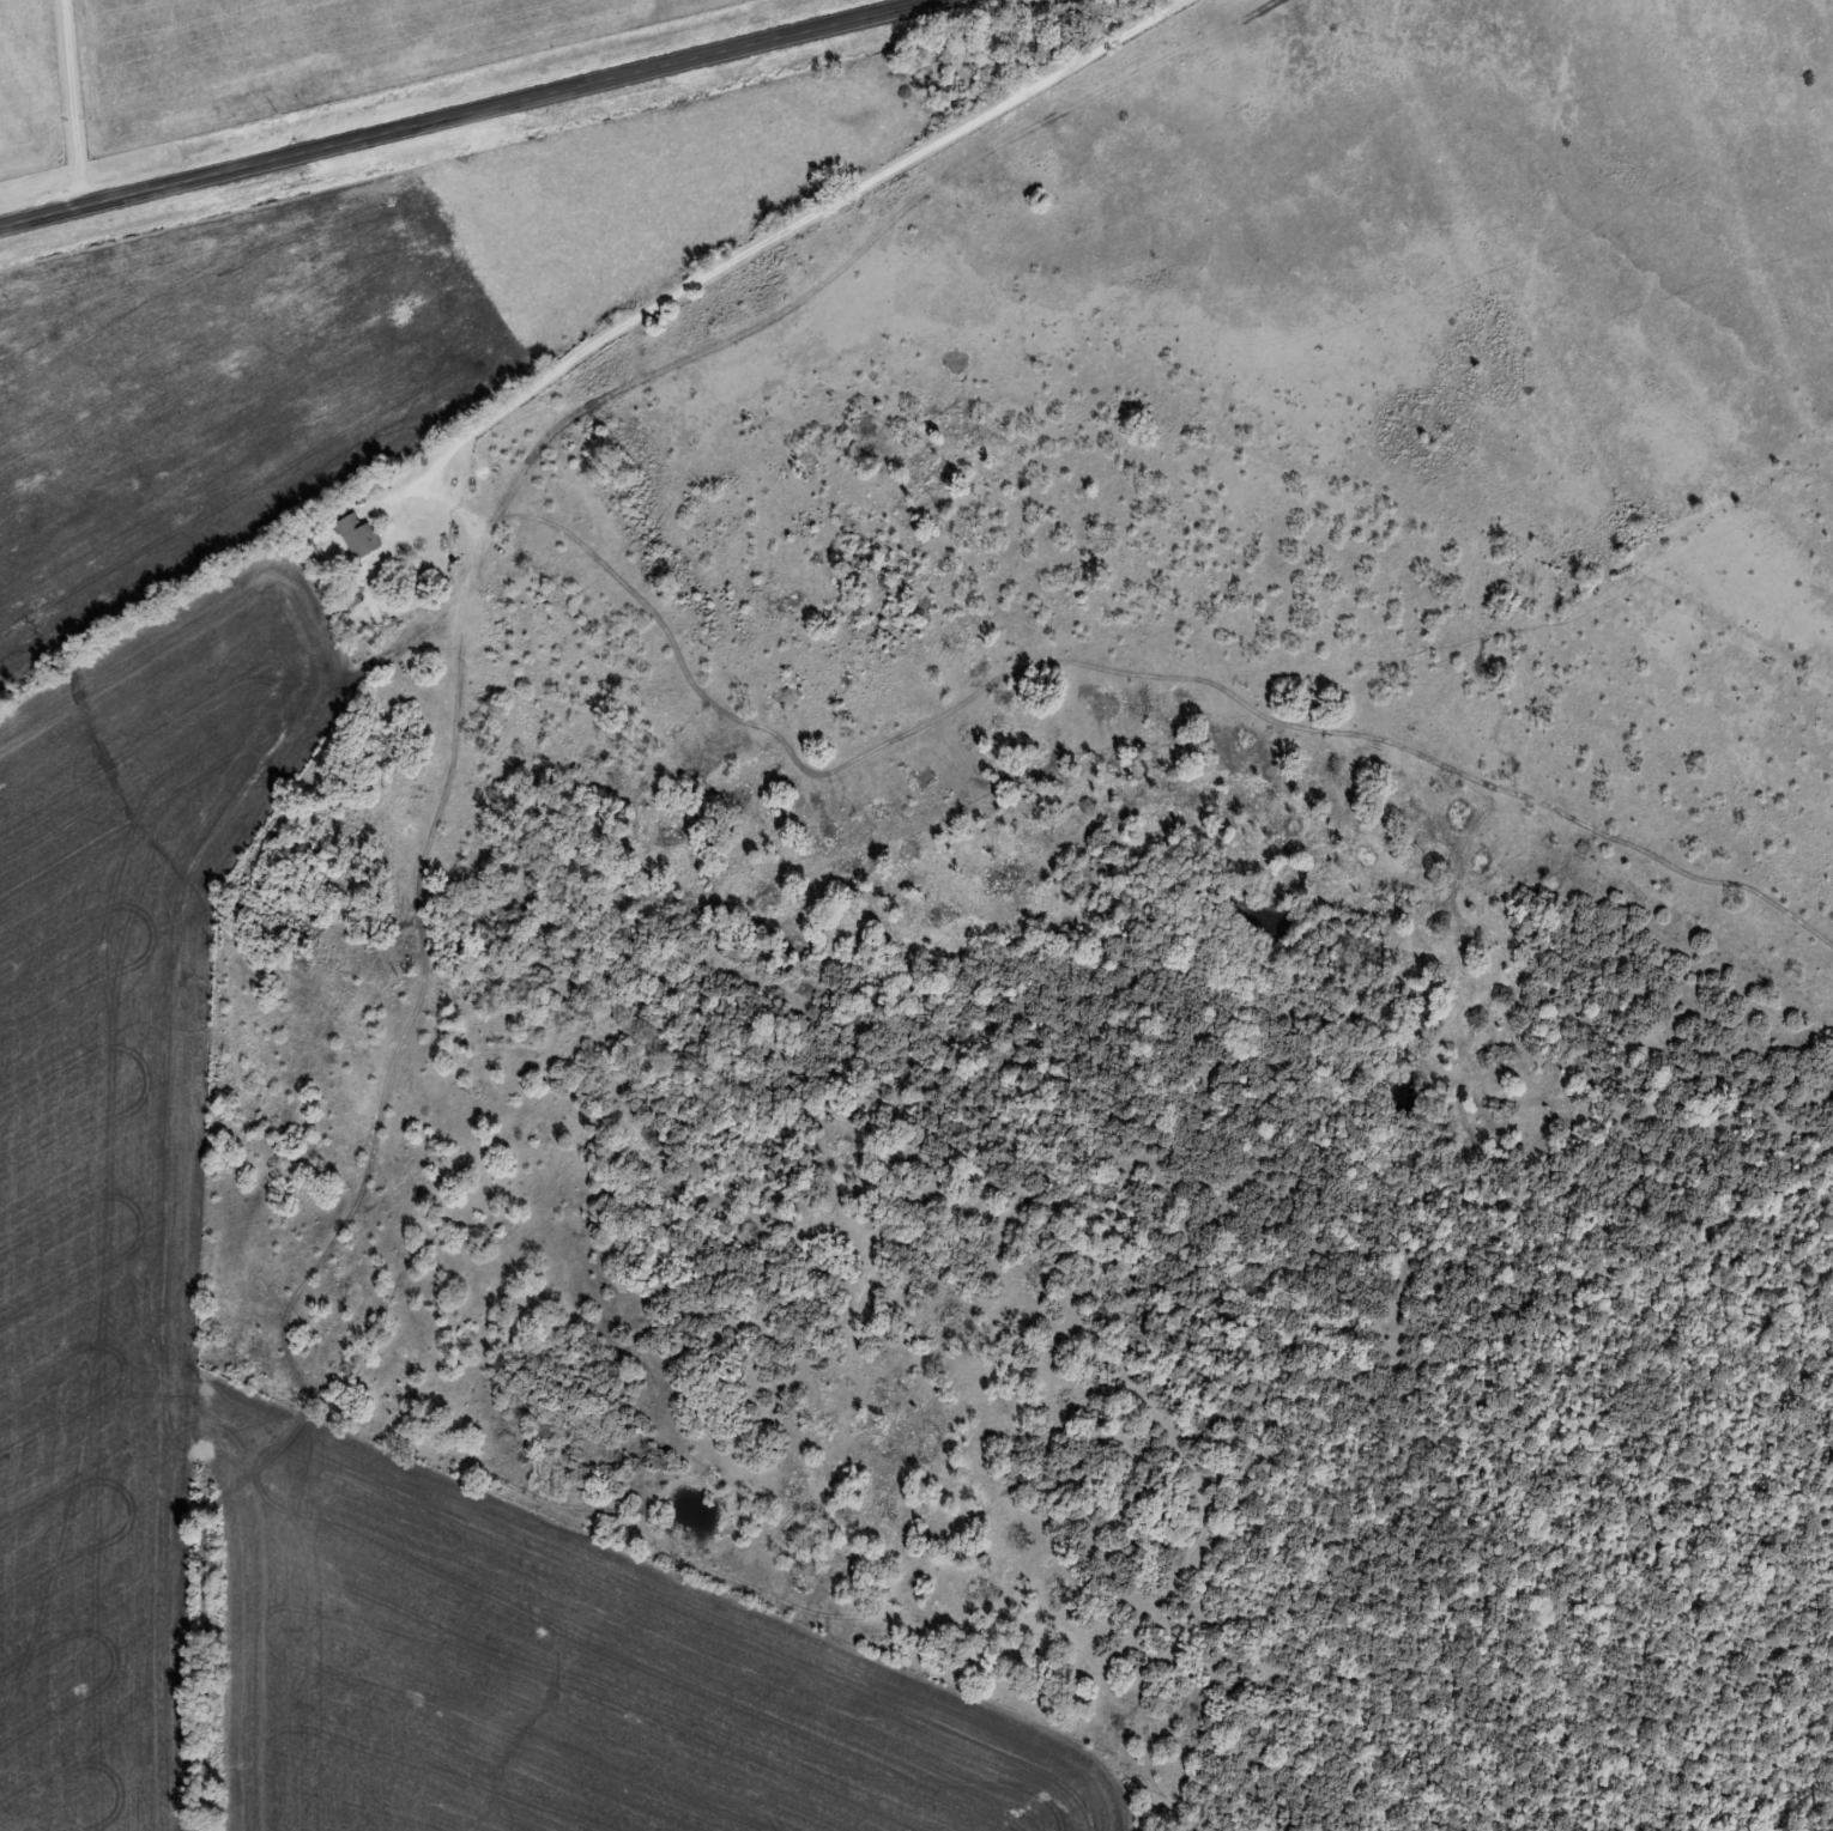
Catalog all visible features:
road: (74, 102)
road: (465, 113)
road: (664, 307)
building: (358, 535)

